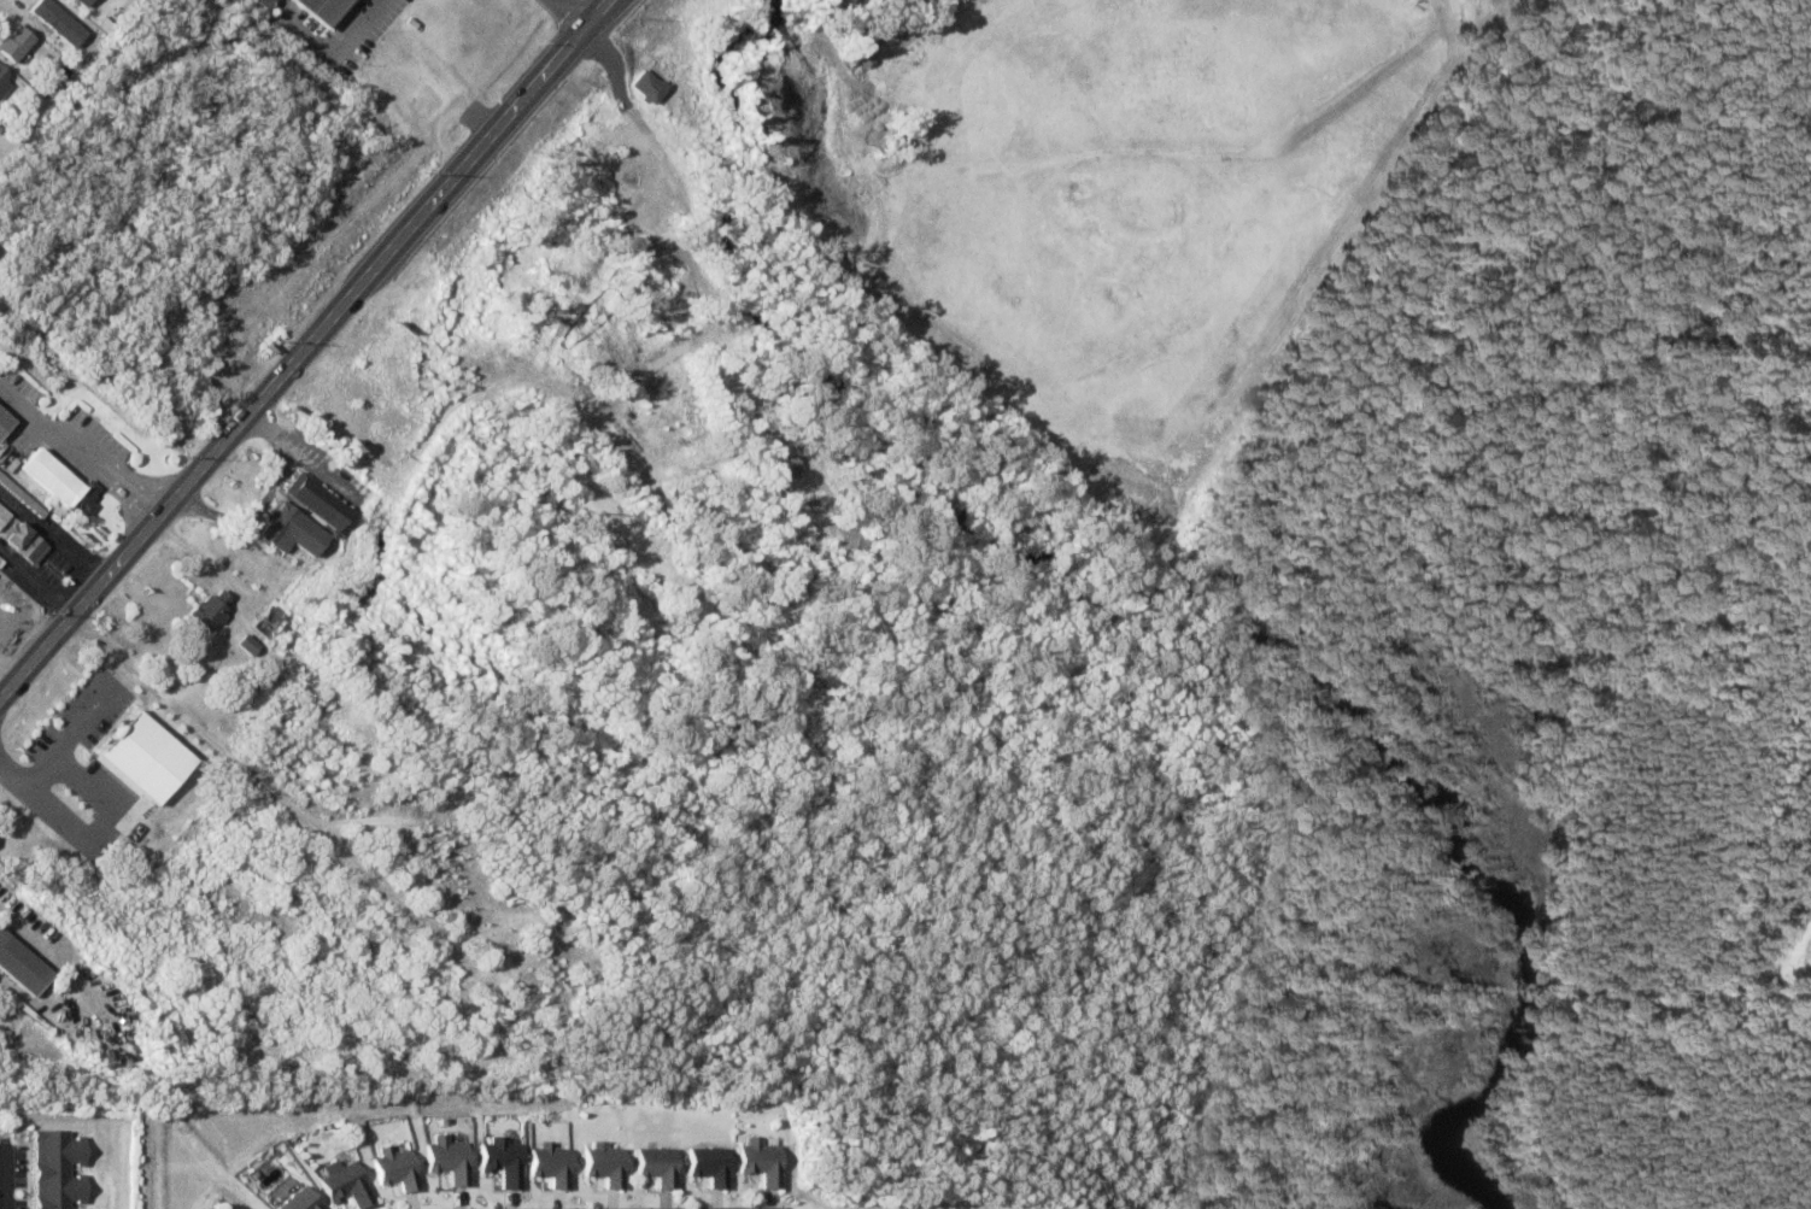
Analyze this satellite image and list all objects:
building: (846, 1)
building: (264, 2)
building: (326, 10)
road: (569, 17)
building: (660, 29)
road: (338, 48)
building: (860, 54)
building: (0, 78)
road: (510, 95)
road: (629, 100)
road: (529, 101)
building: (422, 102)
building: (672, 317)
building: (4, 424)
road: (216, 446)
road: (80, 448)
building: (57, 483)
building: (311, 503)
building: (2, 515)
building: (288, 533)
road: (51, 535)
building: (20, 544)
road: (37, 577)
building: (212, 609)
building: (265, 624)
building: (247, 645)
building: (356, 671)
road: (5, 680)
building: (446, 838)
power plant: (1629, 881)
road: (42, 949)
building: (20, 967)
building: (18, 1005)
building: (446, 1160)
building: (758, 1162)
building: (655, 1166)
building: (55, 1167)
building: (394, 1168)
road: (7, 1176)
building: (345, 1182)
building: (301, 1201)

